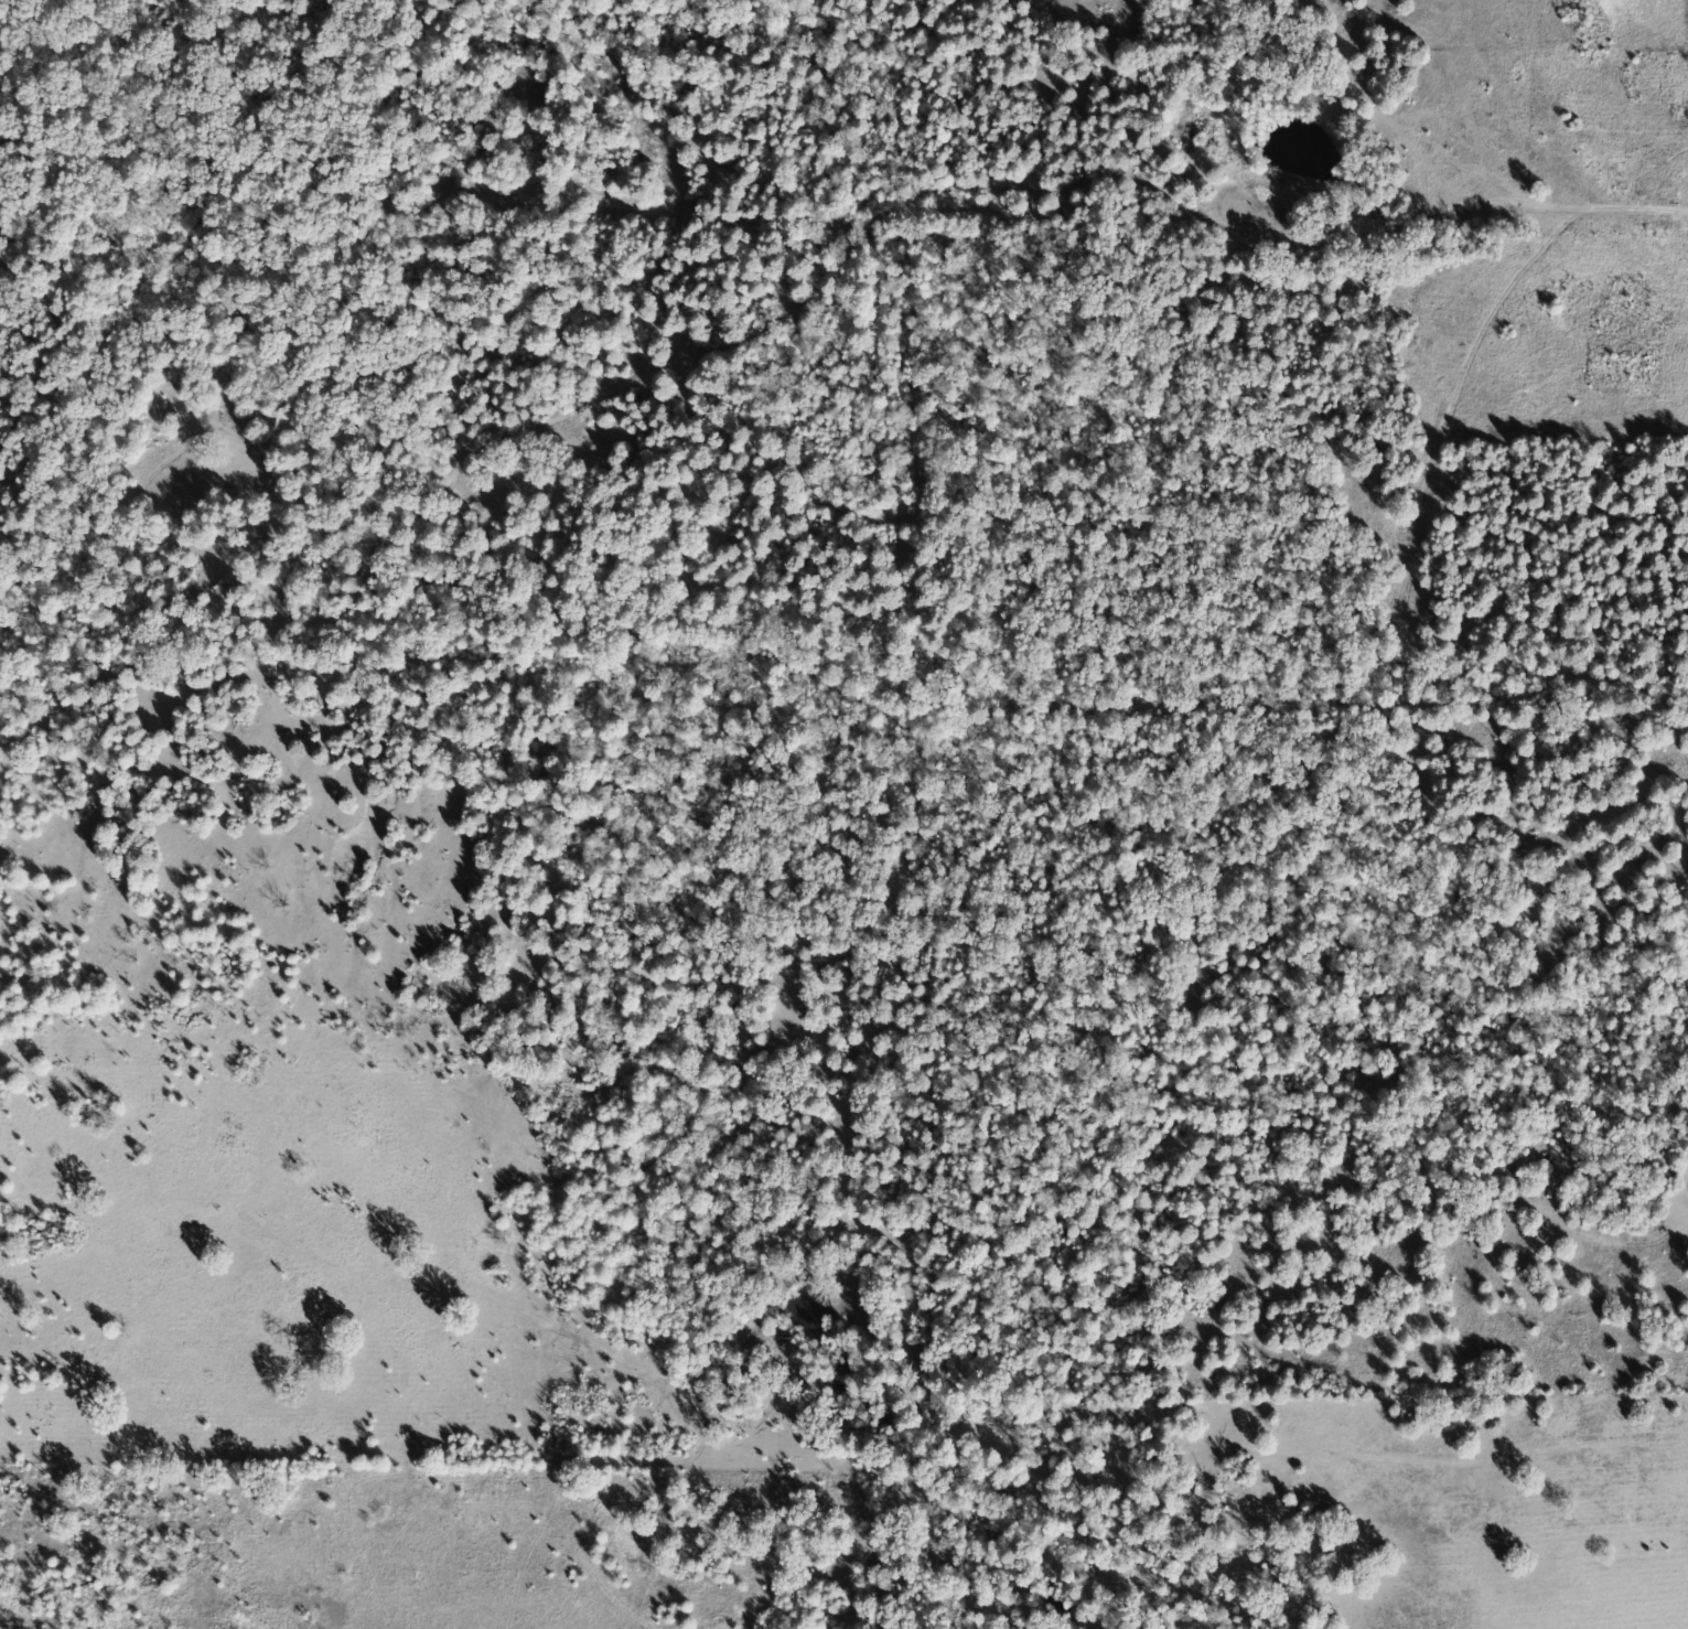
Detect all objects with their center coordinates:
road: (455, 1200)

